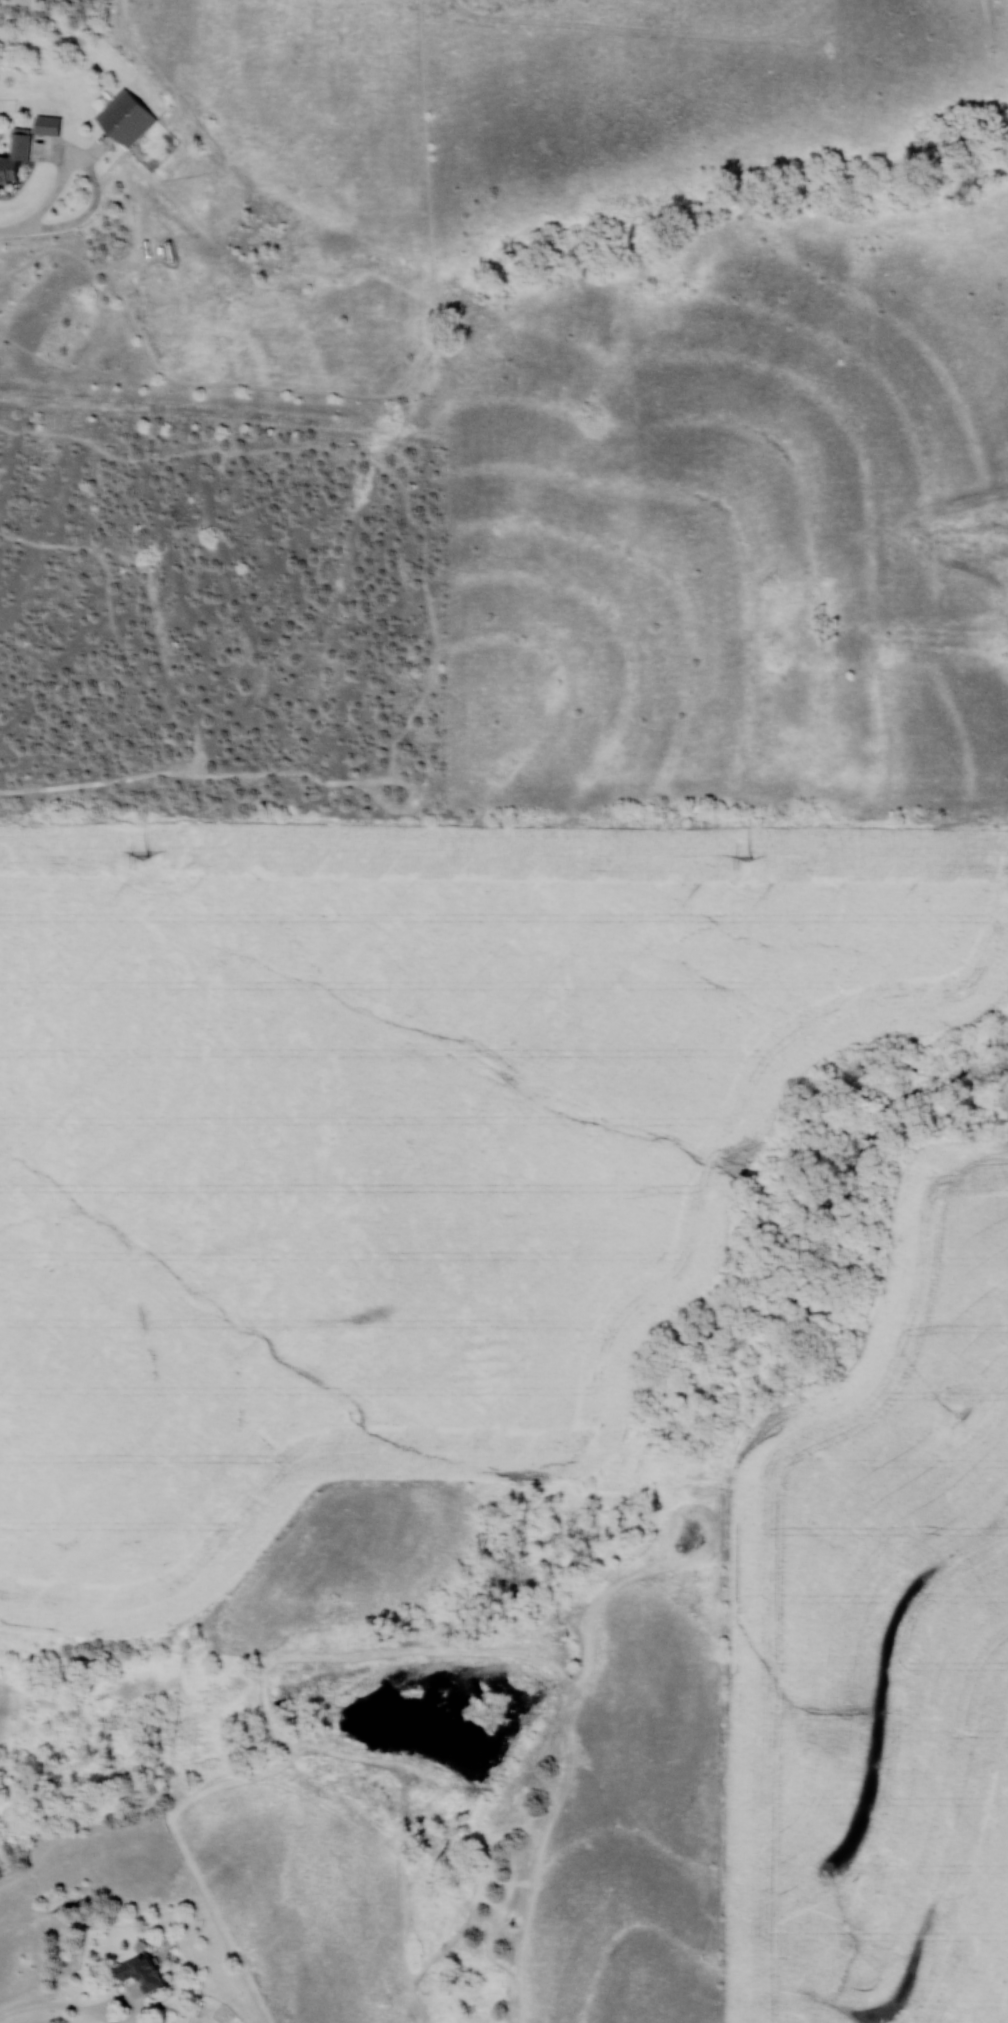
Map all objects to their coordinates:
building: (124, 119)
building: (46, 125)
building: (14, 154)
road: (93, 176)
road: (12, 231)
dam: (968, 538)
power tower: (146, 854)
power tower: (747, 856)
crop: (880, 1649)
building: (138, 1972)
road: (49, 2008)

